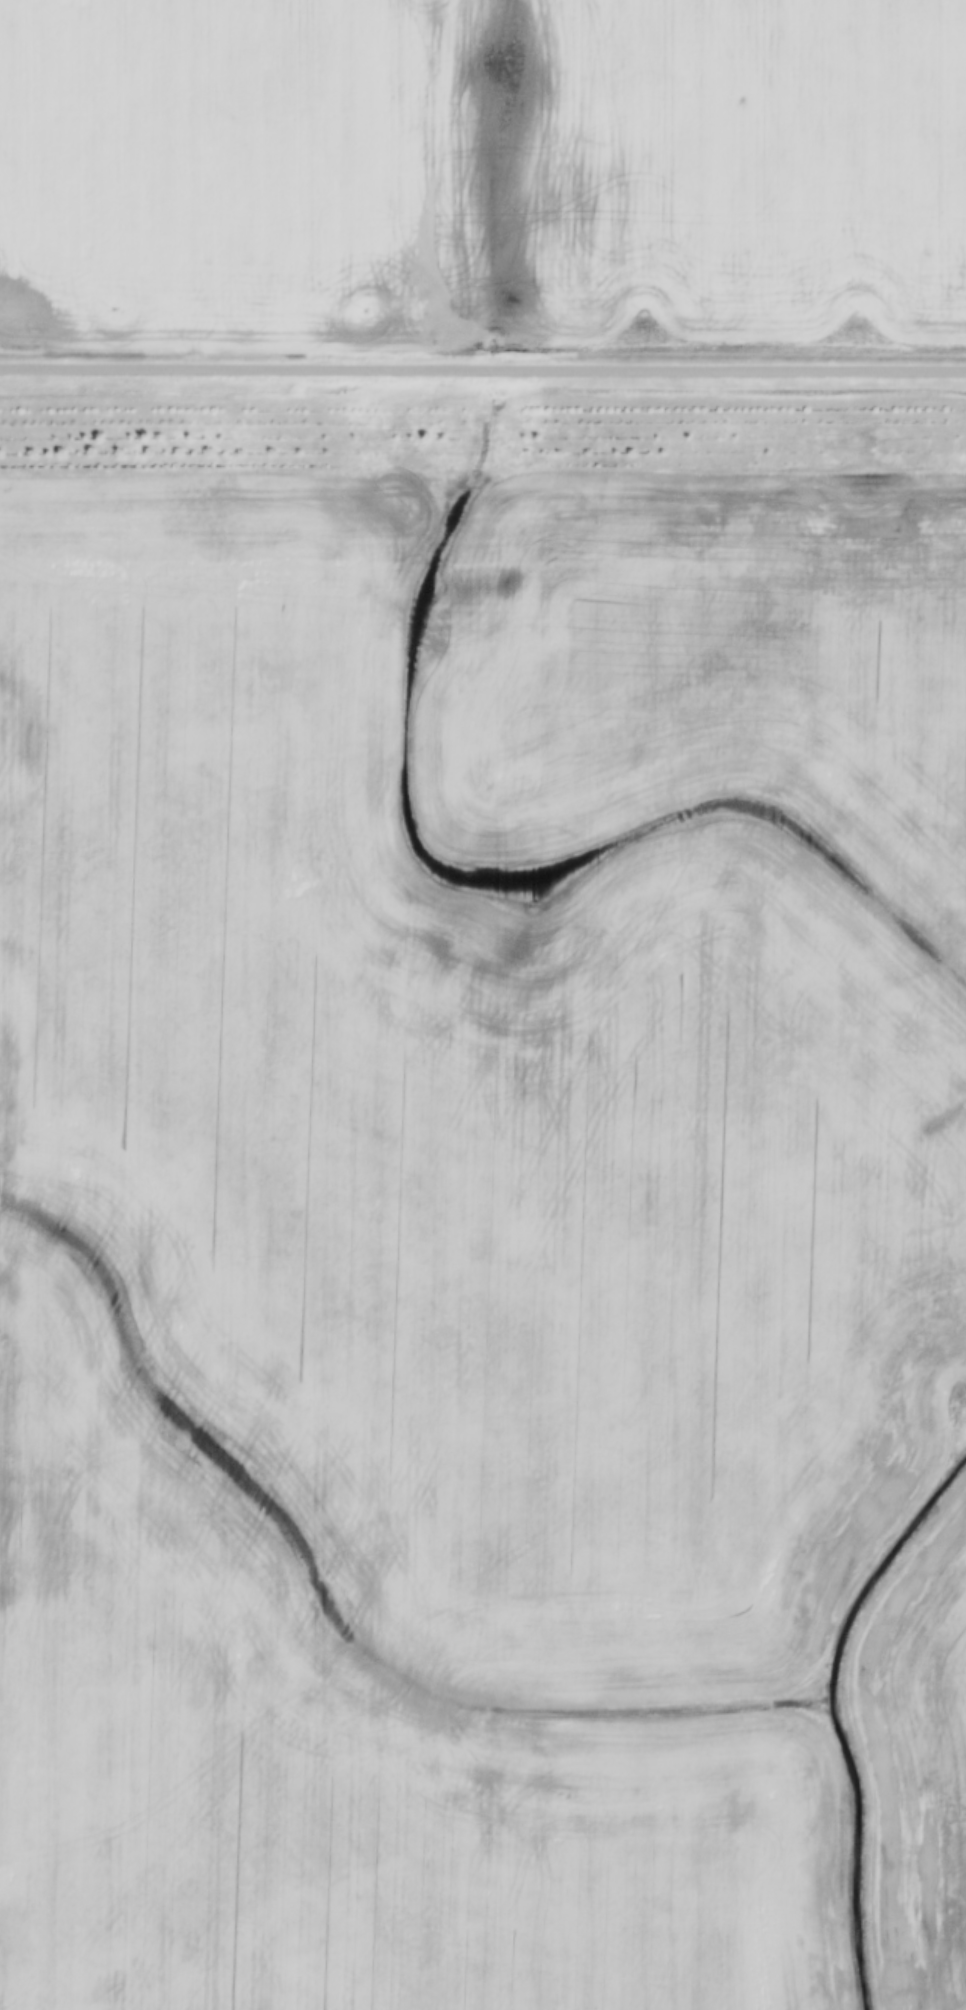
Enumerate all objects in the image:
road: (483, 366)

